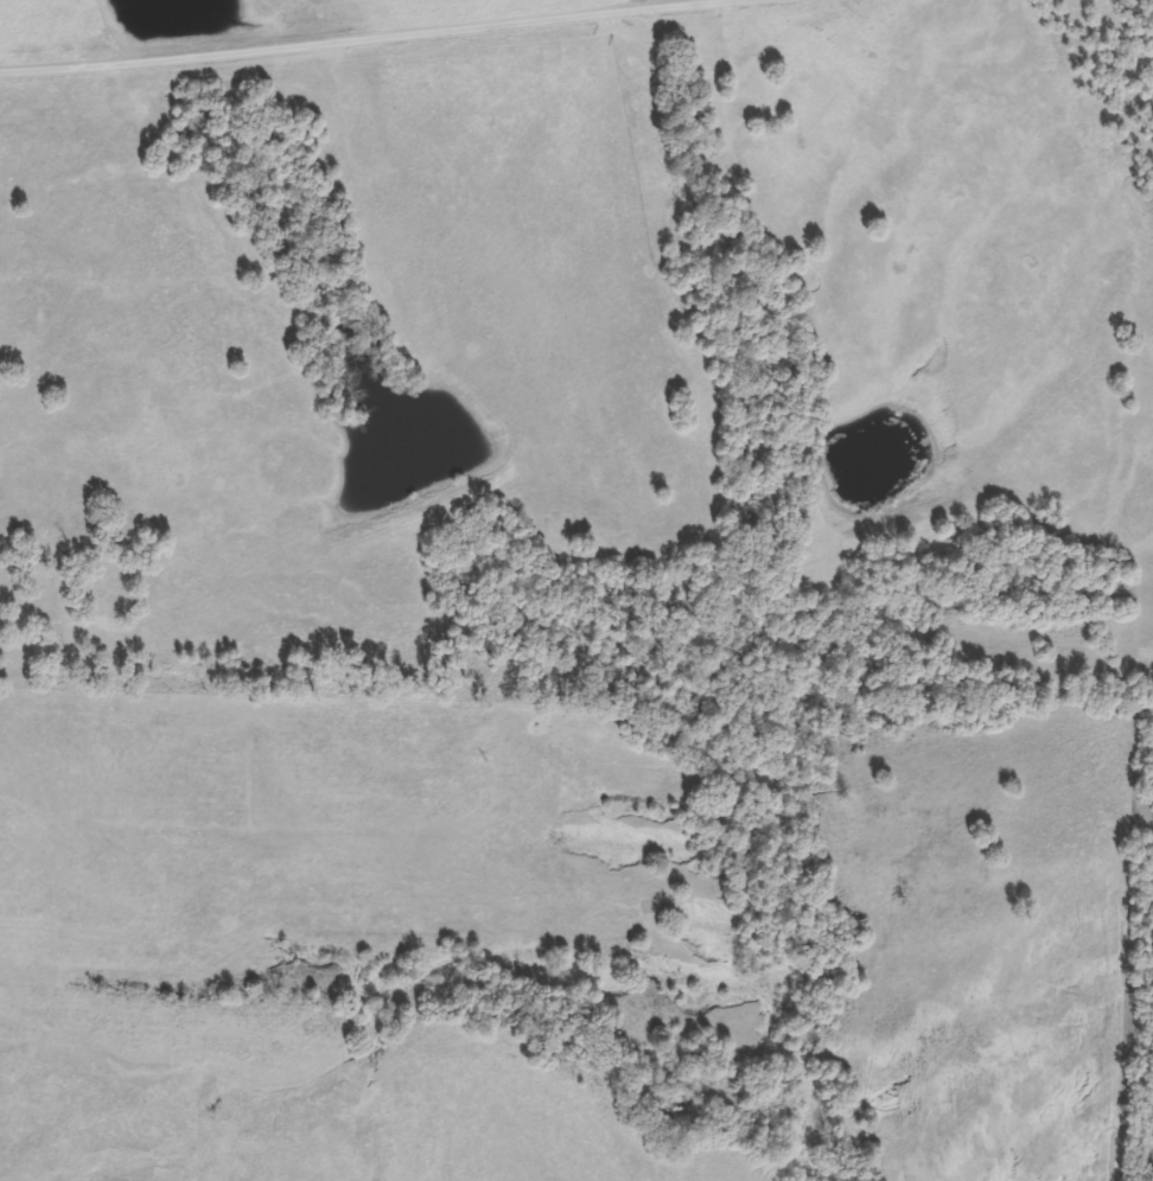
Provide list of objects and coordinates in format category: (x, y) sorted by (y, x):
road: (713, 4)
road: (340, 42)

